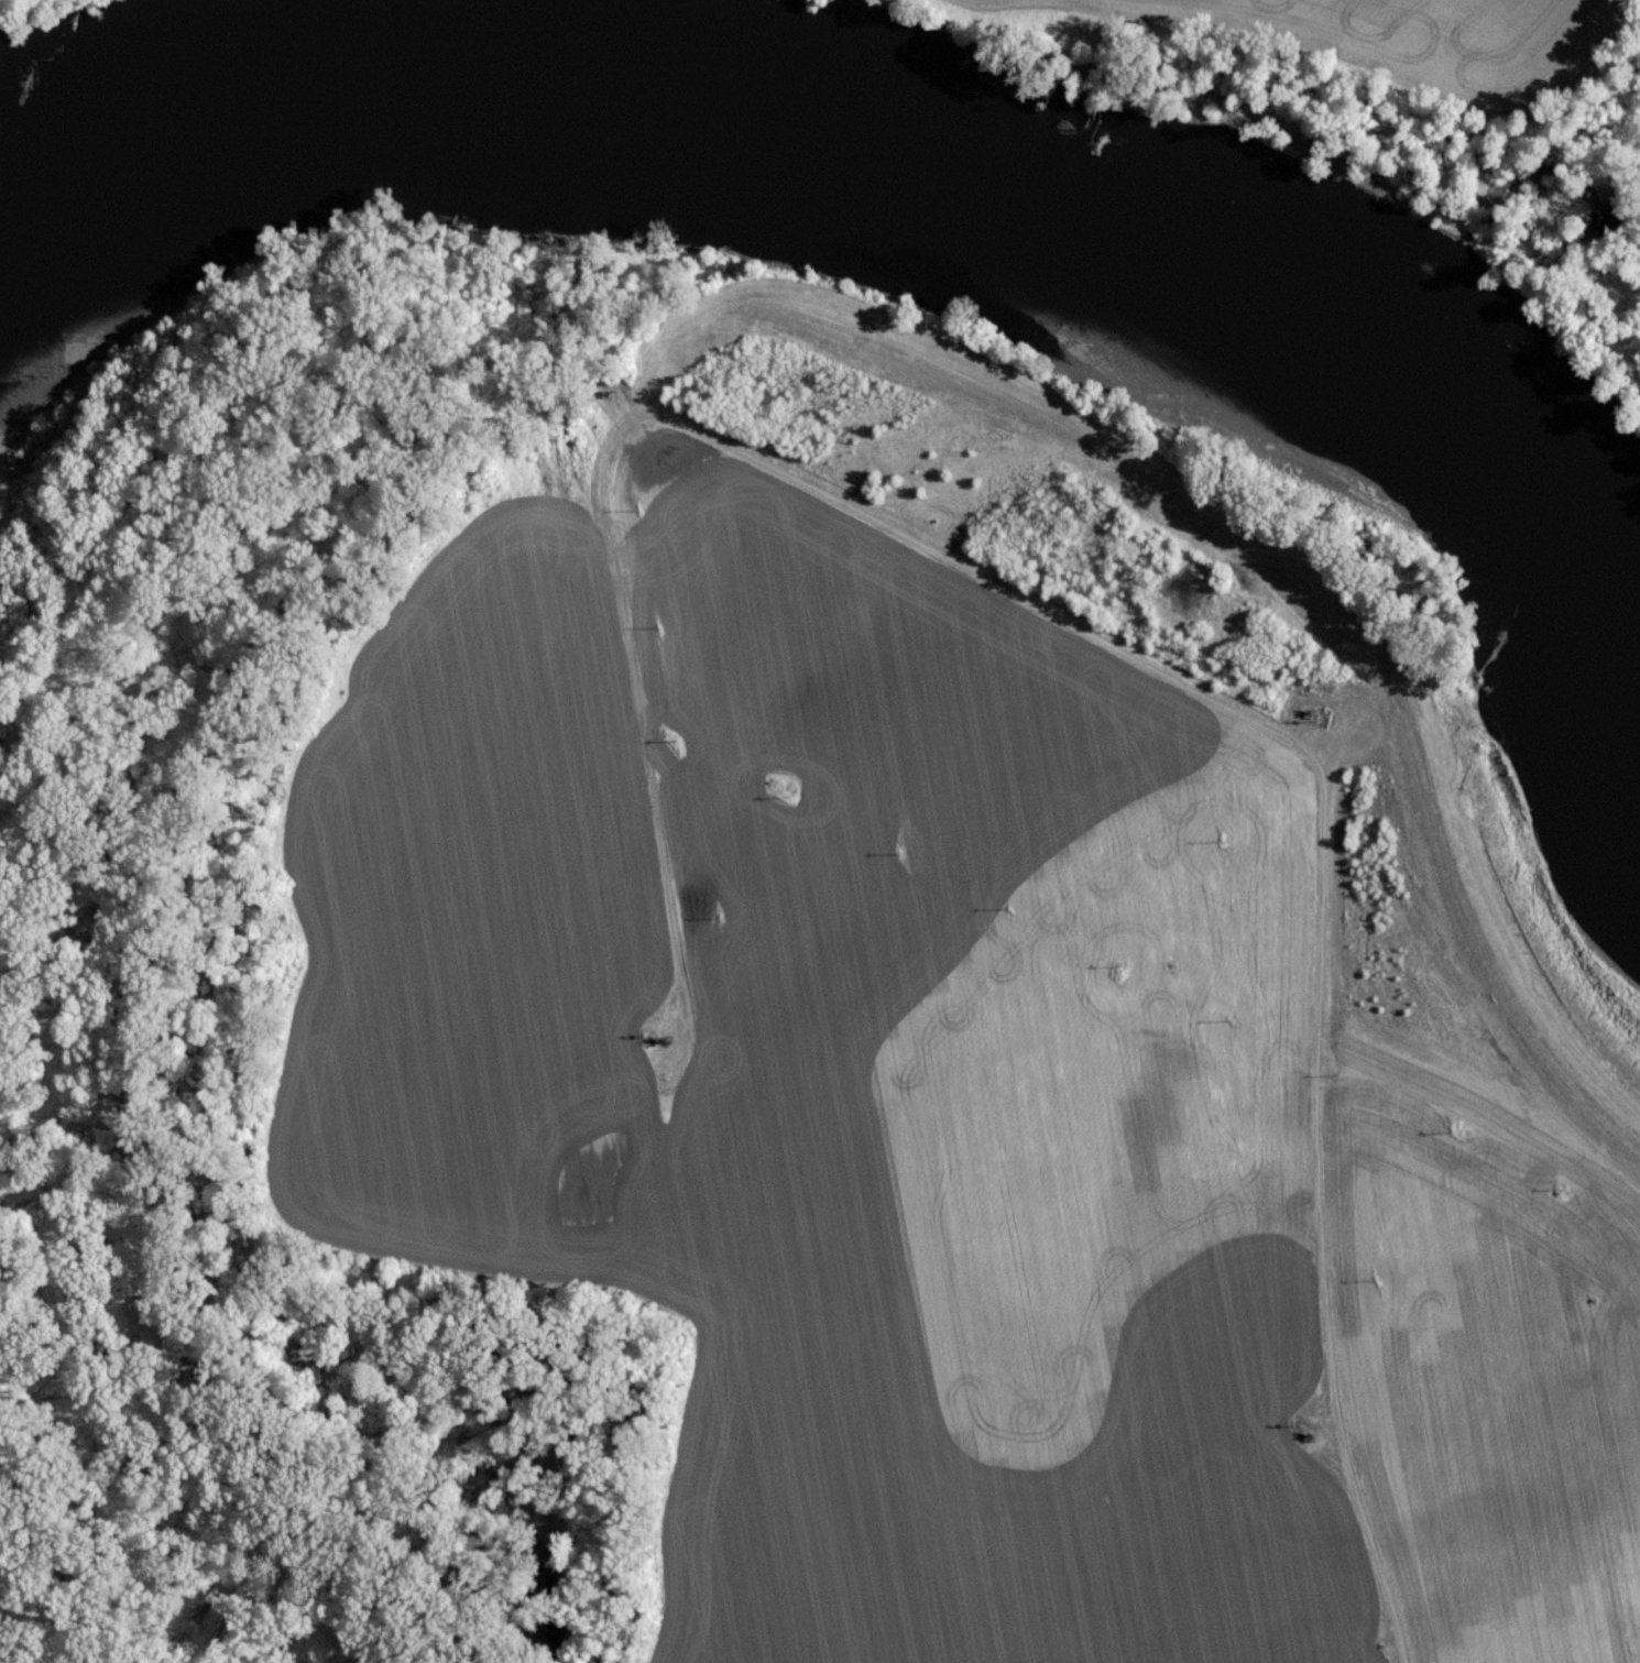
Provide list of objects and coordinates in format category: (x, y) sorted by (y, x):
building: (1030, 47)
river: (842, 169)
road: (1082, 636)

